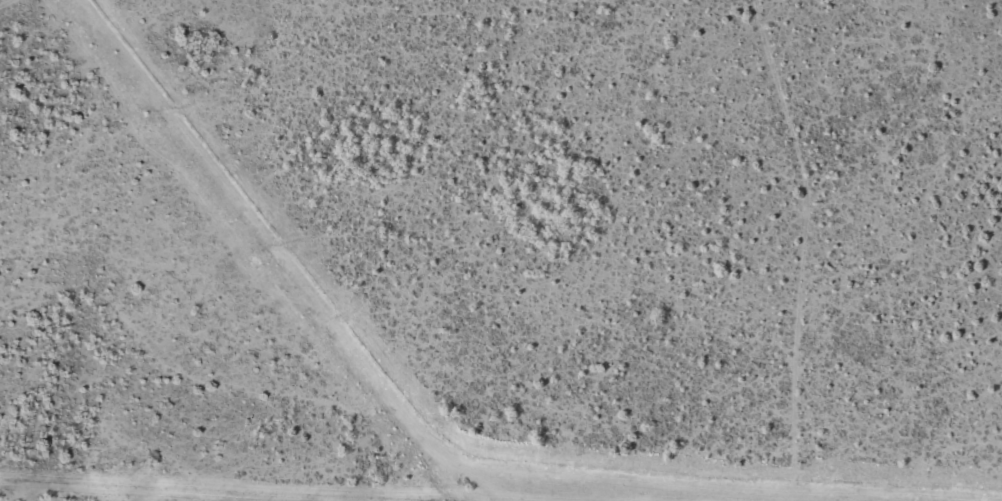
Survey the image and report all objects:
road: (785, 258)

